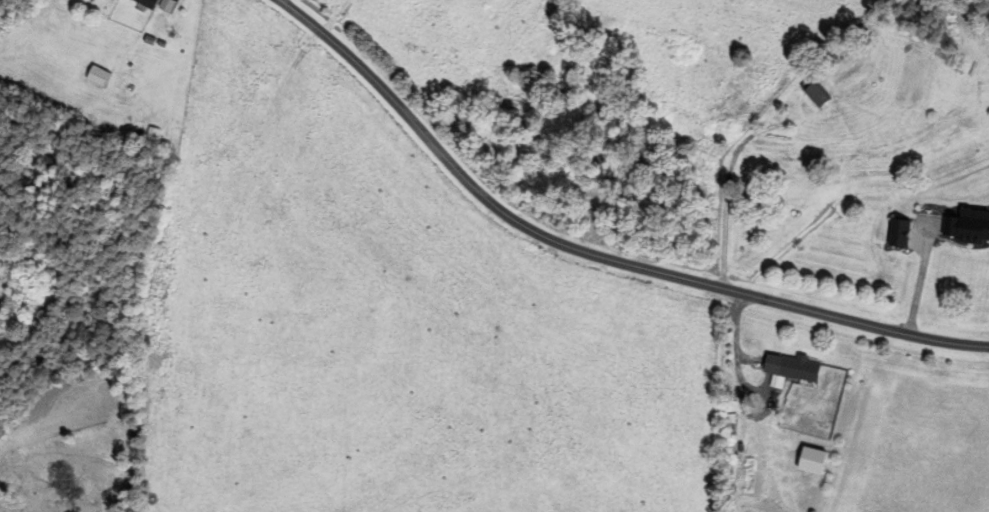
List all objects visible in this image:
building: (163, 4)
building: (811, 91)
road: (729, 168)
building: (963, 226)
road: (591, 252)
road: (920, 277)
road: (736, 355)
building: (782, 366)
building: (741, 478)

